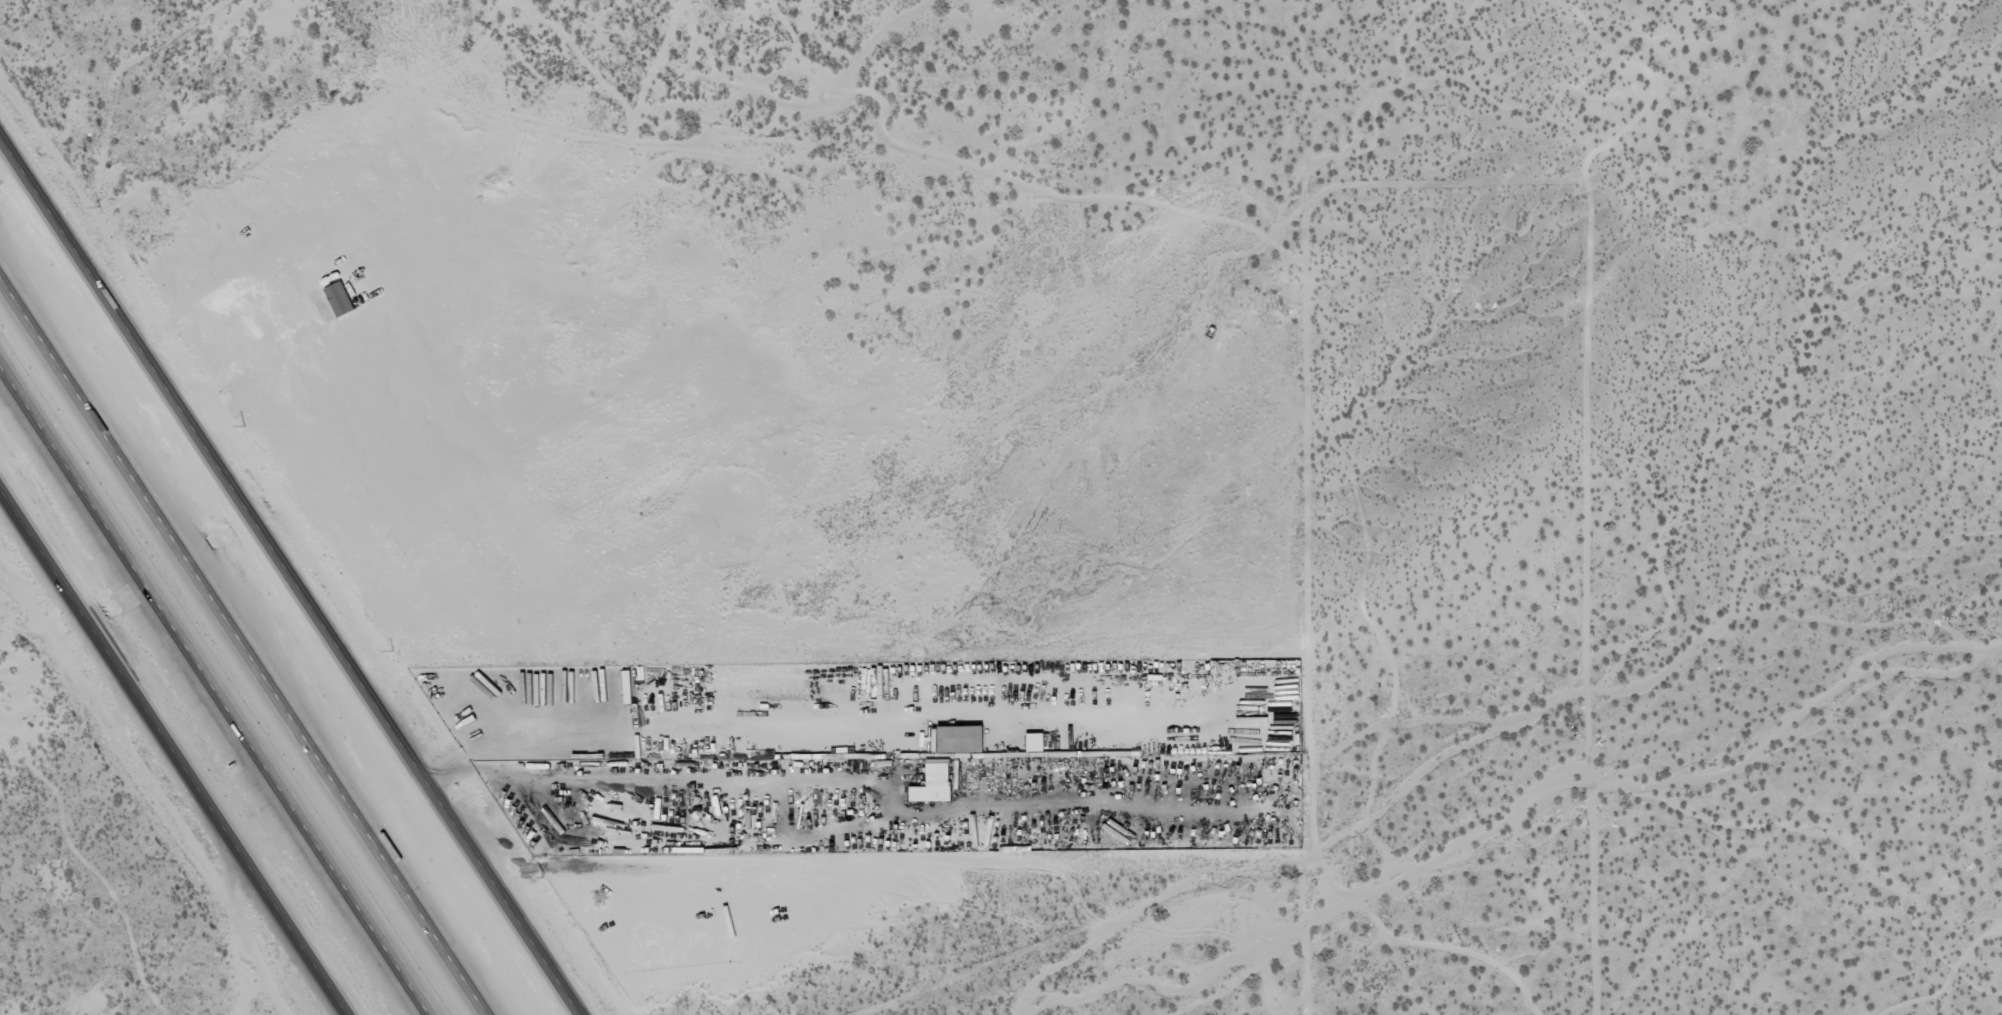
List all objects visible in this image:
road: (290, 575)
road: (242, 647)
road: (1433, 676)
road: (213, 692)
building: (960, 740)
building: (1037, 744)
road: (173, 751)
building: (933, 783)

